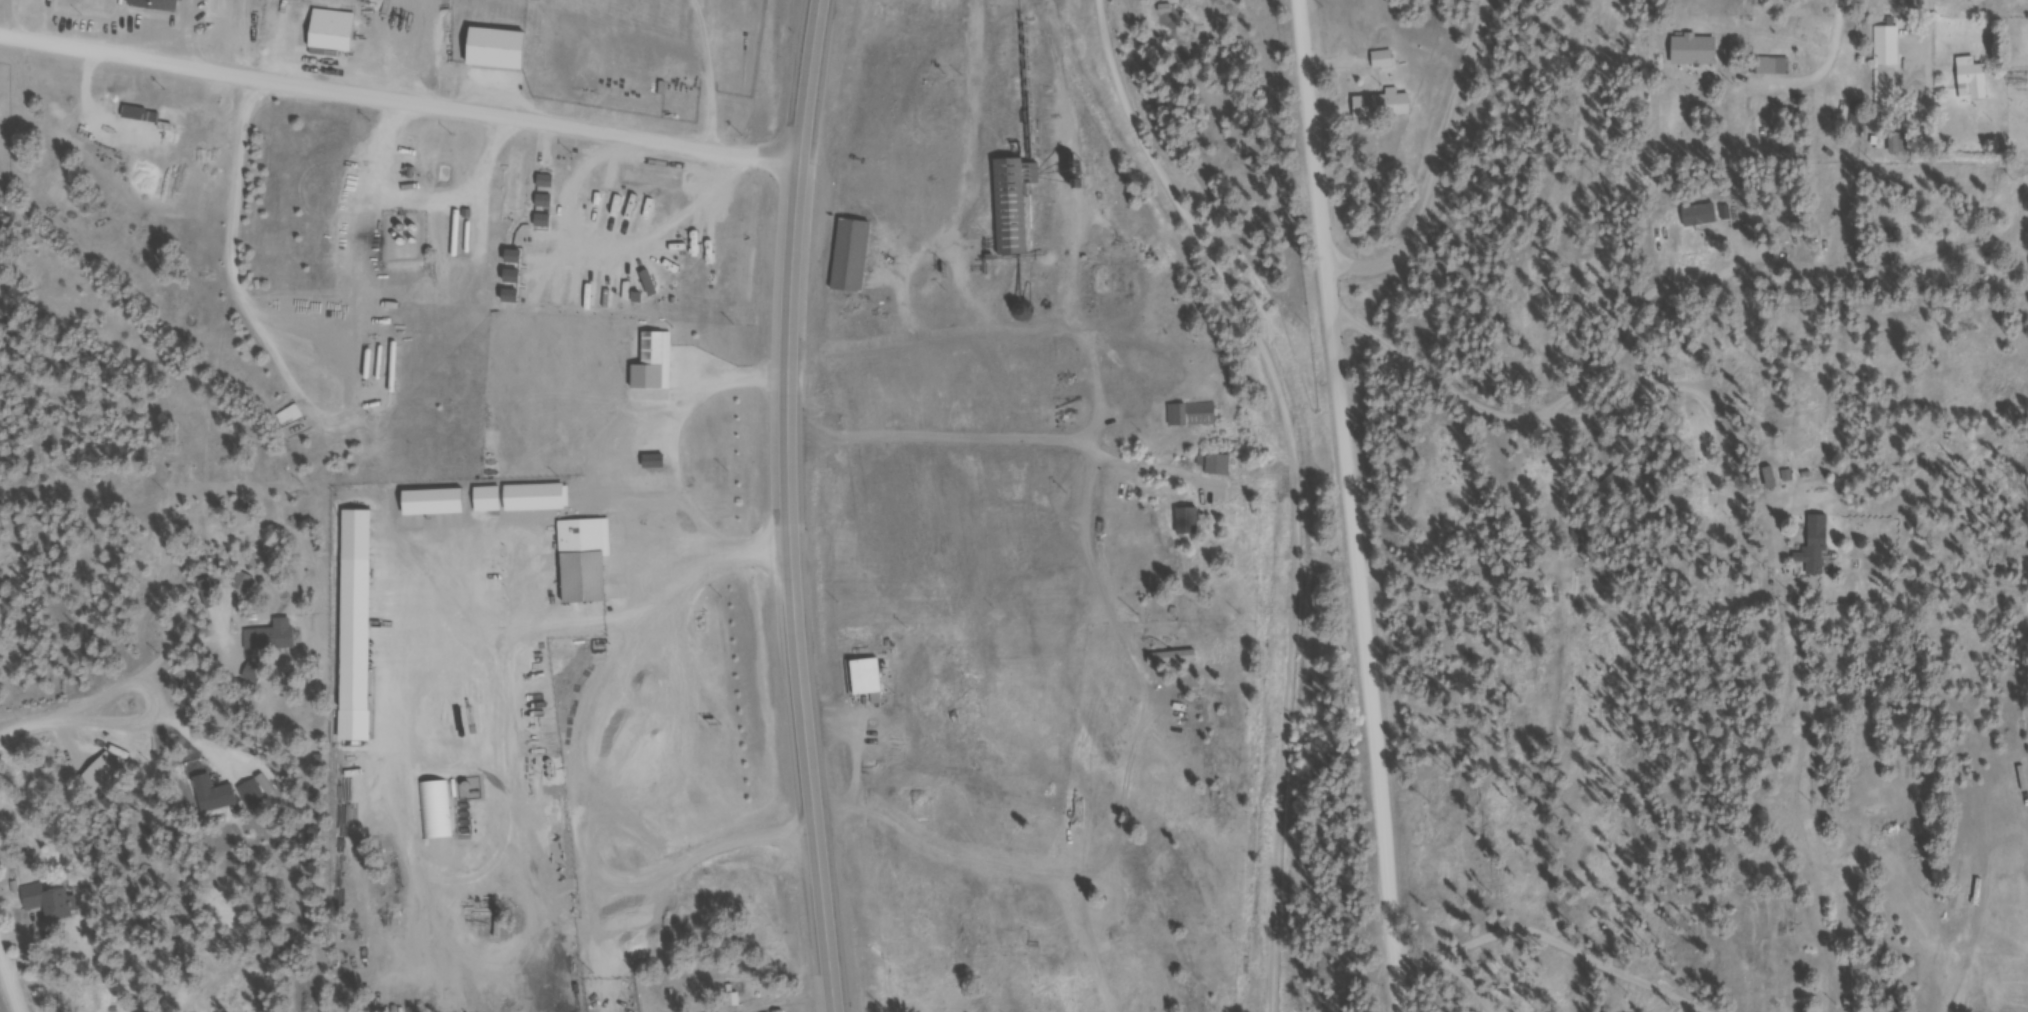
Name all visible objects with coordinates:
building: (128, 5)
road: (1494, 18)
building: (335, 33)
road: (1930, 47)
building: (1889, 49)
building: (500, 52)
building: (1697, 53)
building: (1385, 62)
building: (1775, 68)
road: (1828, 71)
building: (1974, 82)
road: (399, 96)
building: (1386, 108)
building: (142, 117)
building: (1861, 119)
building: (1901, 146)
road: (1444, 194)
building: (1016, 205)
building: (1702, 219)
building: (700, 244)
building: (854, 259)
road: (1636, 323)
building: (657, 366)
building: (1194, 418)
building: (292, 419)
road: (1559, 425)
building: (662, 465)
building: (1220, 468)
building: (1772, 481)
road: (1295, 484)
building: (547, 498)
building: (490, 502)
road: (1348, 505)
road: (790, 506)
building: (1191, 525)
building: (1818, 550)
building: (595, 562)
building: (212, 597)
building: (359, 628)
building: (272, 642)
building: (256, 676)
building: (869, 680)
road: (156, 711)
road: (46, 728)
building: (107, 777)
building: (257, 793)
building: (216, 796)
building: (439, 811)
building: (1878, 828)
building: (2006, 881)
building: (51, 904)
road: (1456, 972)
road: (10, 979)

